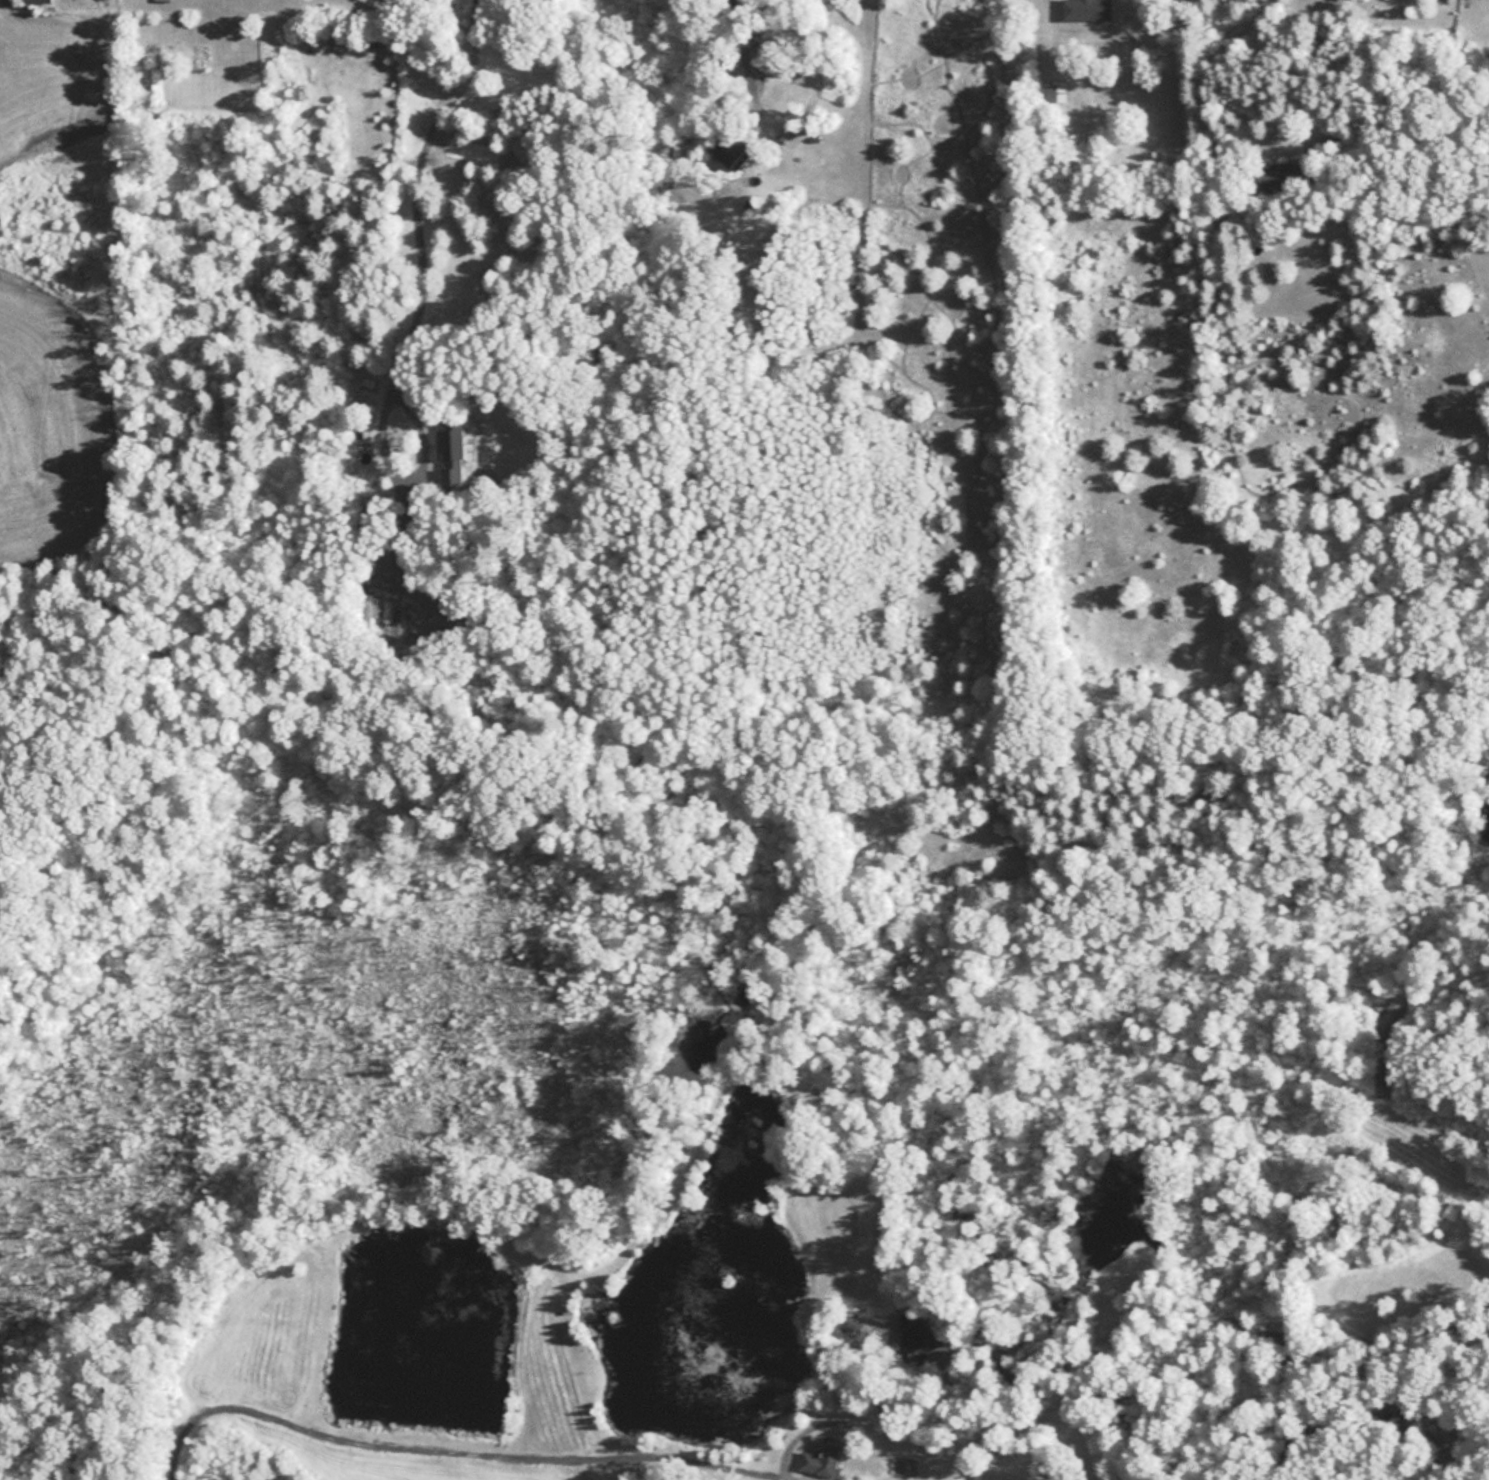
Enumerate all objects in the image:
building: (165, 0)
building: (41, 1)
building: (1091, 11)
road: (1308, 58)
road: (745, 64)
building: (1052, 96)
building: (740, 153)
building: (1291, 182)
road: (412, 198)
building: (460, 442)
building: (370, 614)
building: (465, 646)
road: (1299, 1369)
road: (469, 1444)
building: (828, 1459)
road: (985, 1472)

